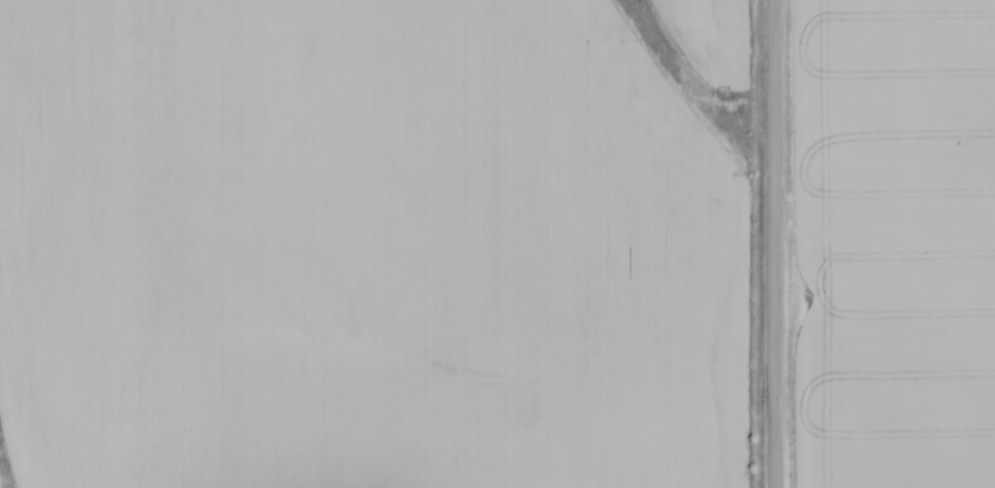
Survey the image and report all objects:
road: (774, 244)

